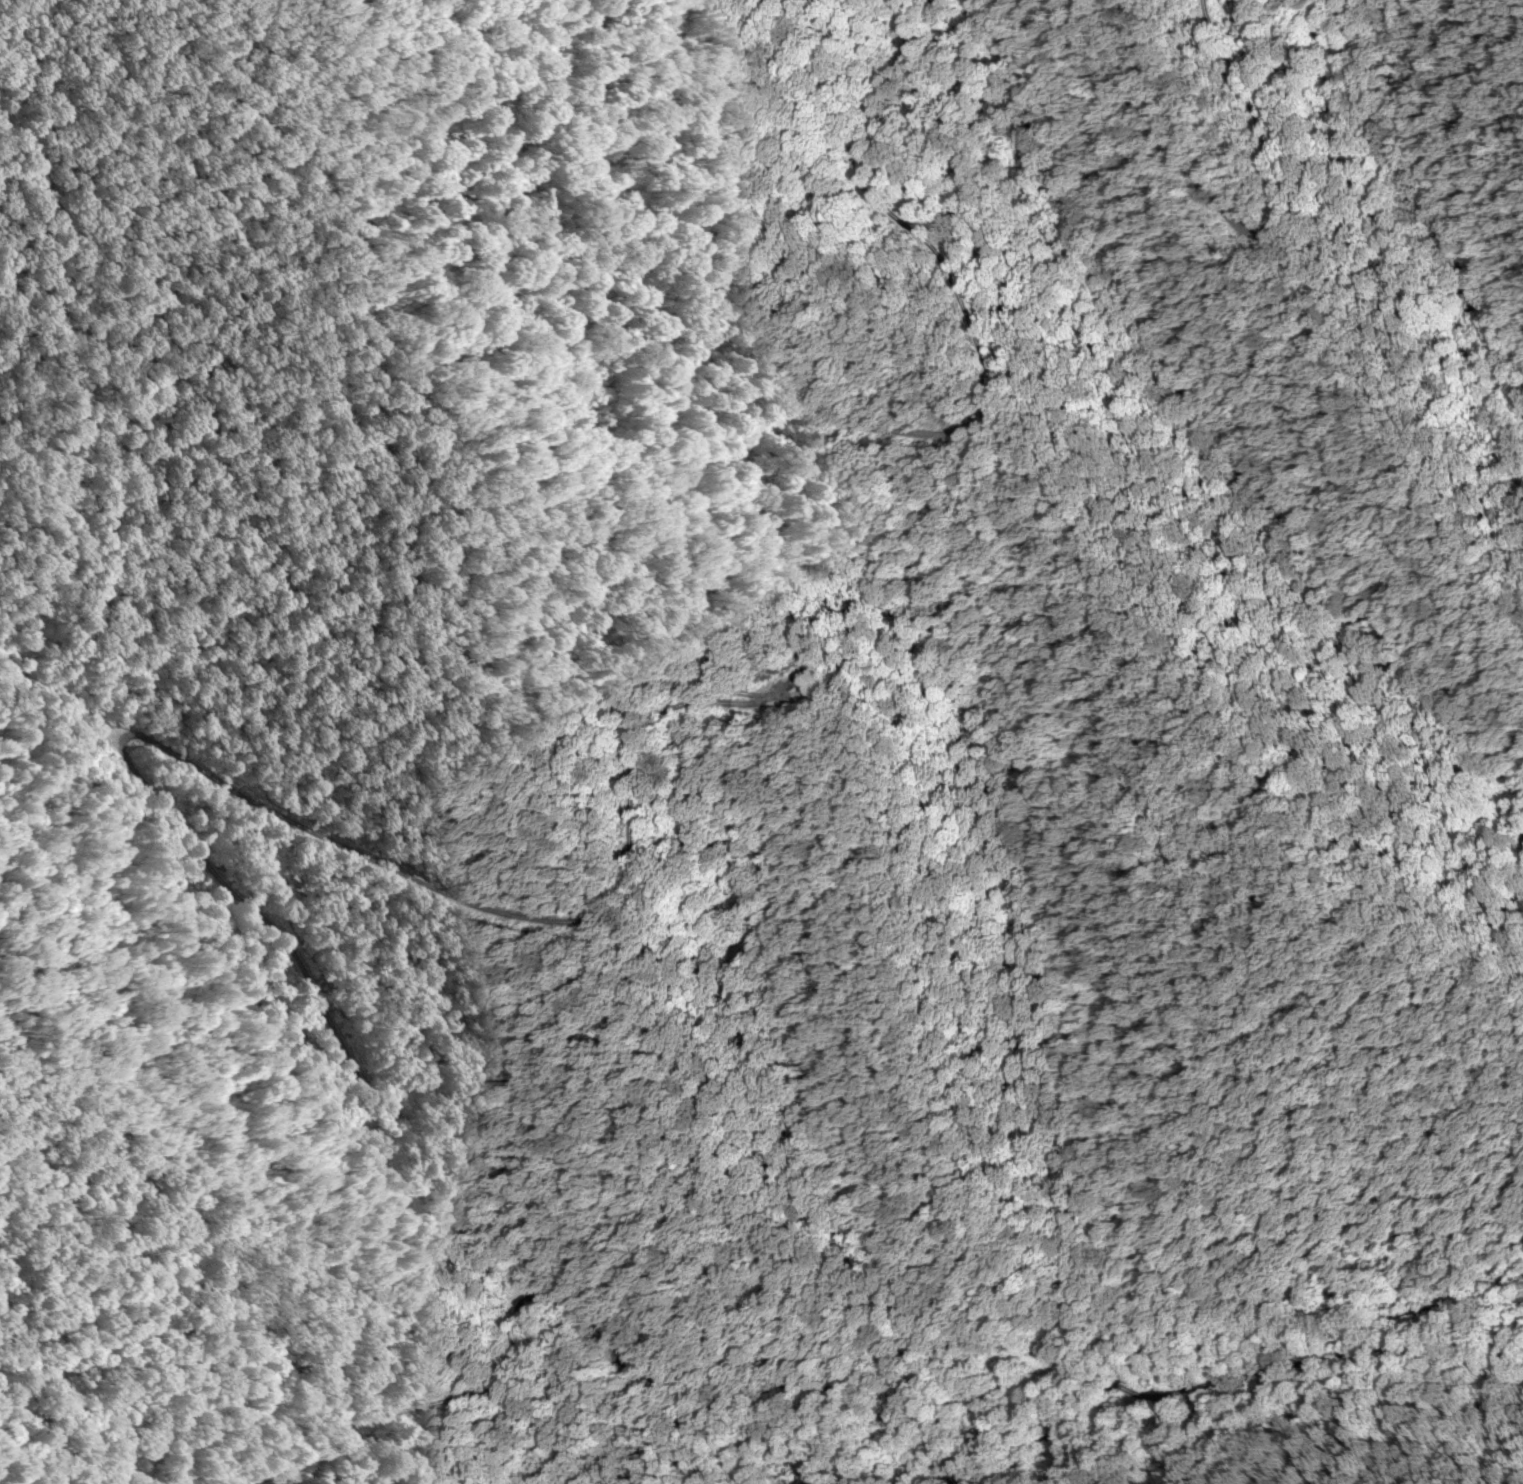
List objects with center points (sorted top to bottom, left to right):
road: (867, 1327)

